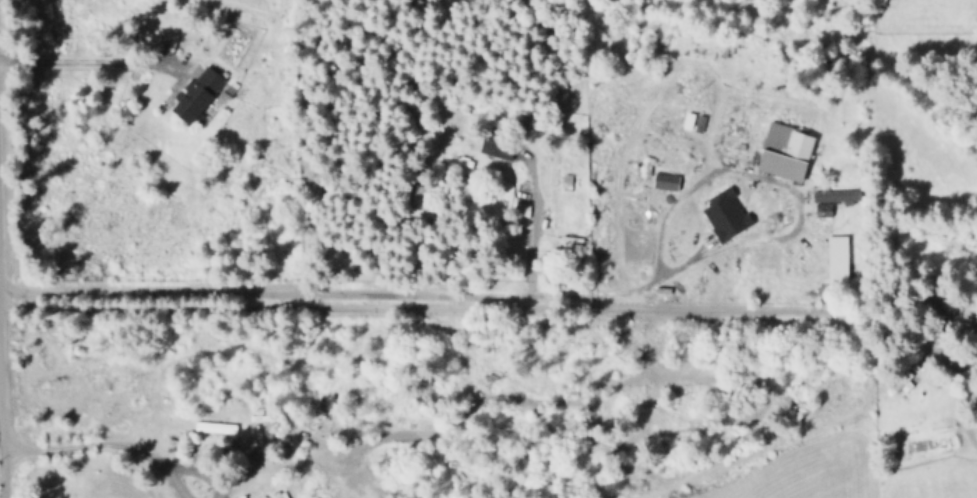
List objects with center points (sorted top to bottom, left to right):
road: (81, 58)
building: (196, 93)
building: (698, 123)
building: (496, 146)
building: (784, 151)
building: (664, 181)
road: (776, 187)
building: (835, 195)
building: (822, 209)
building: (725, 214)
building: (836, 259)
road: (328, 295)
road: (550, 311)
building: (213, 426)
crop: (800, 472)
road: (1, 476)

